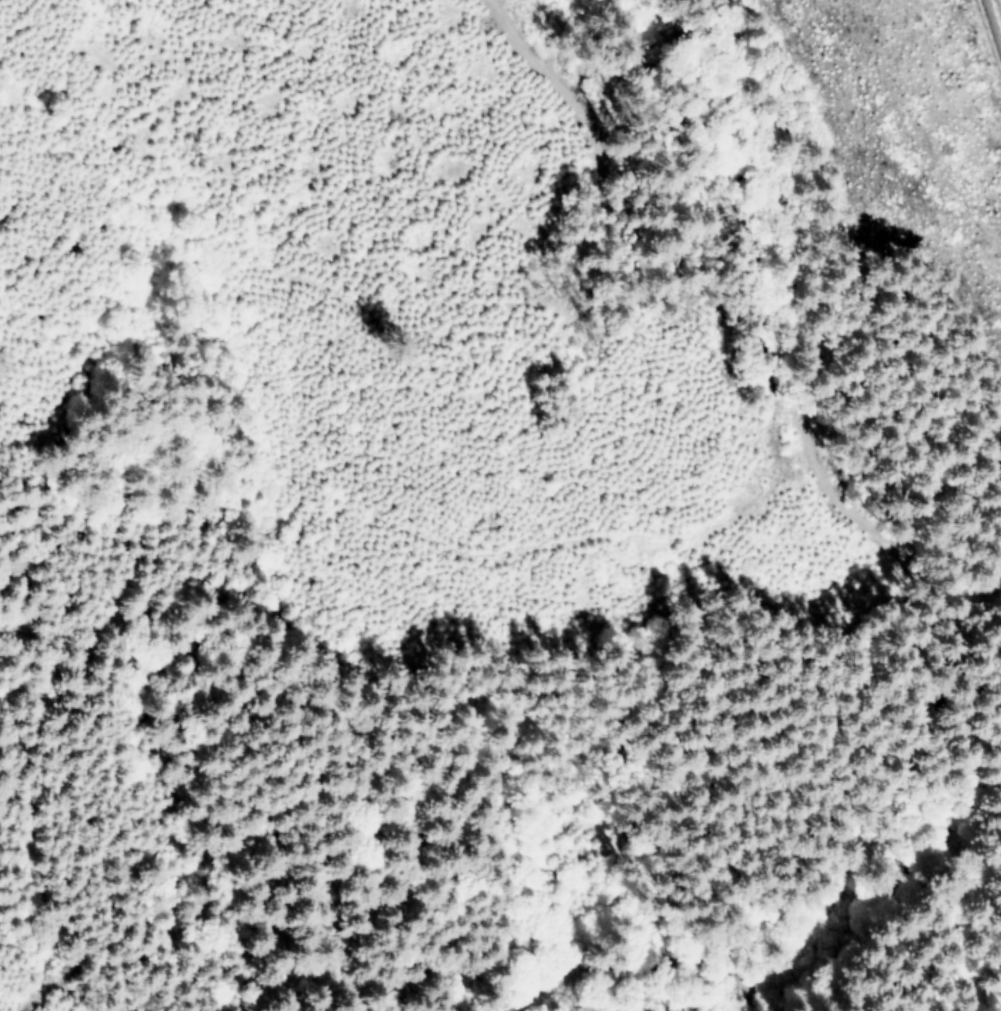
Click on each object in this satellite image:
crop: (987, 36)

